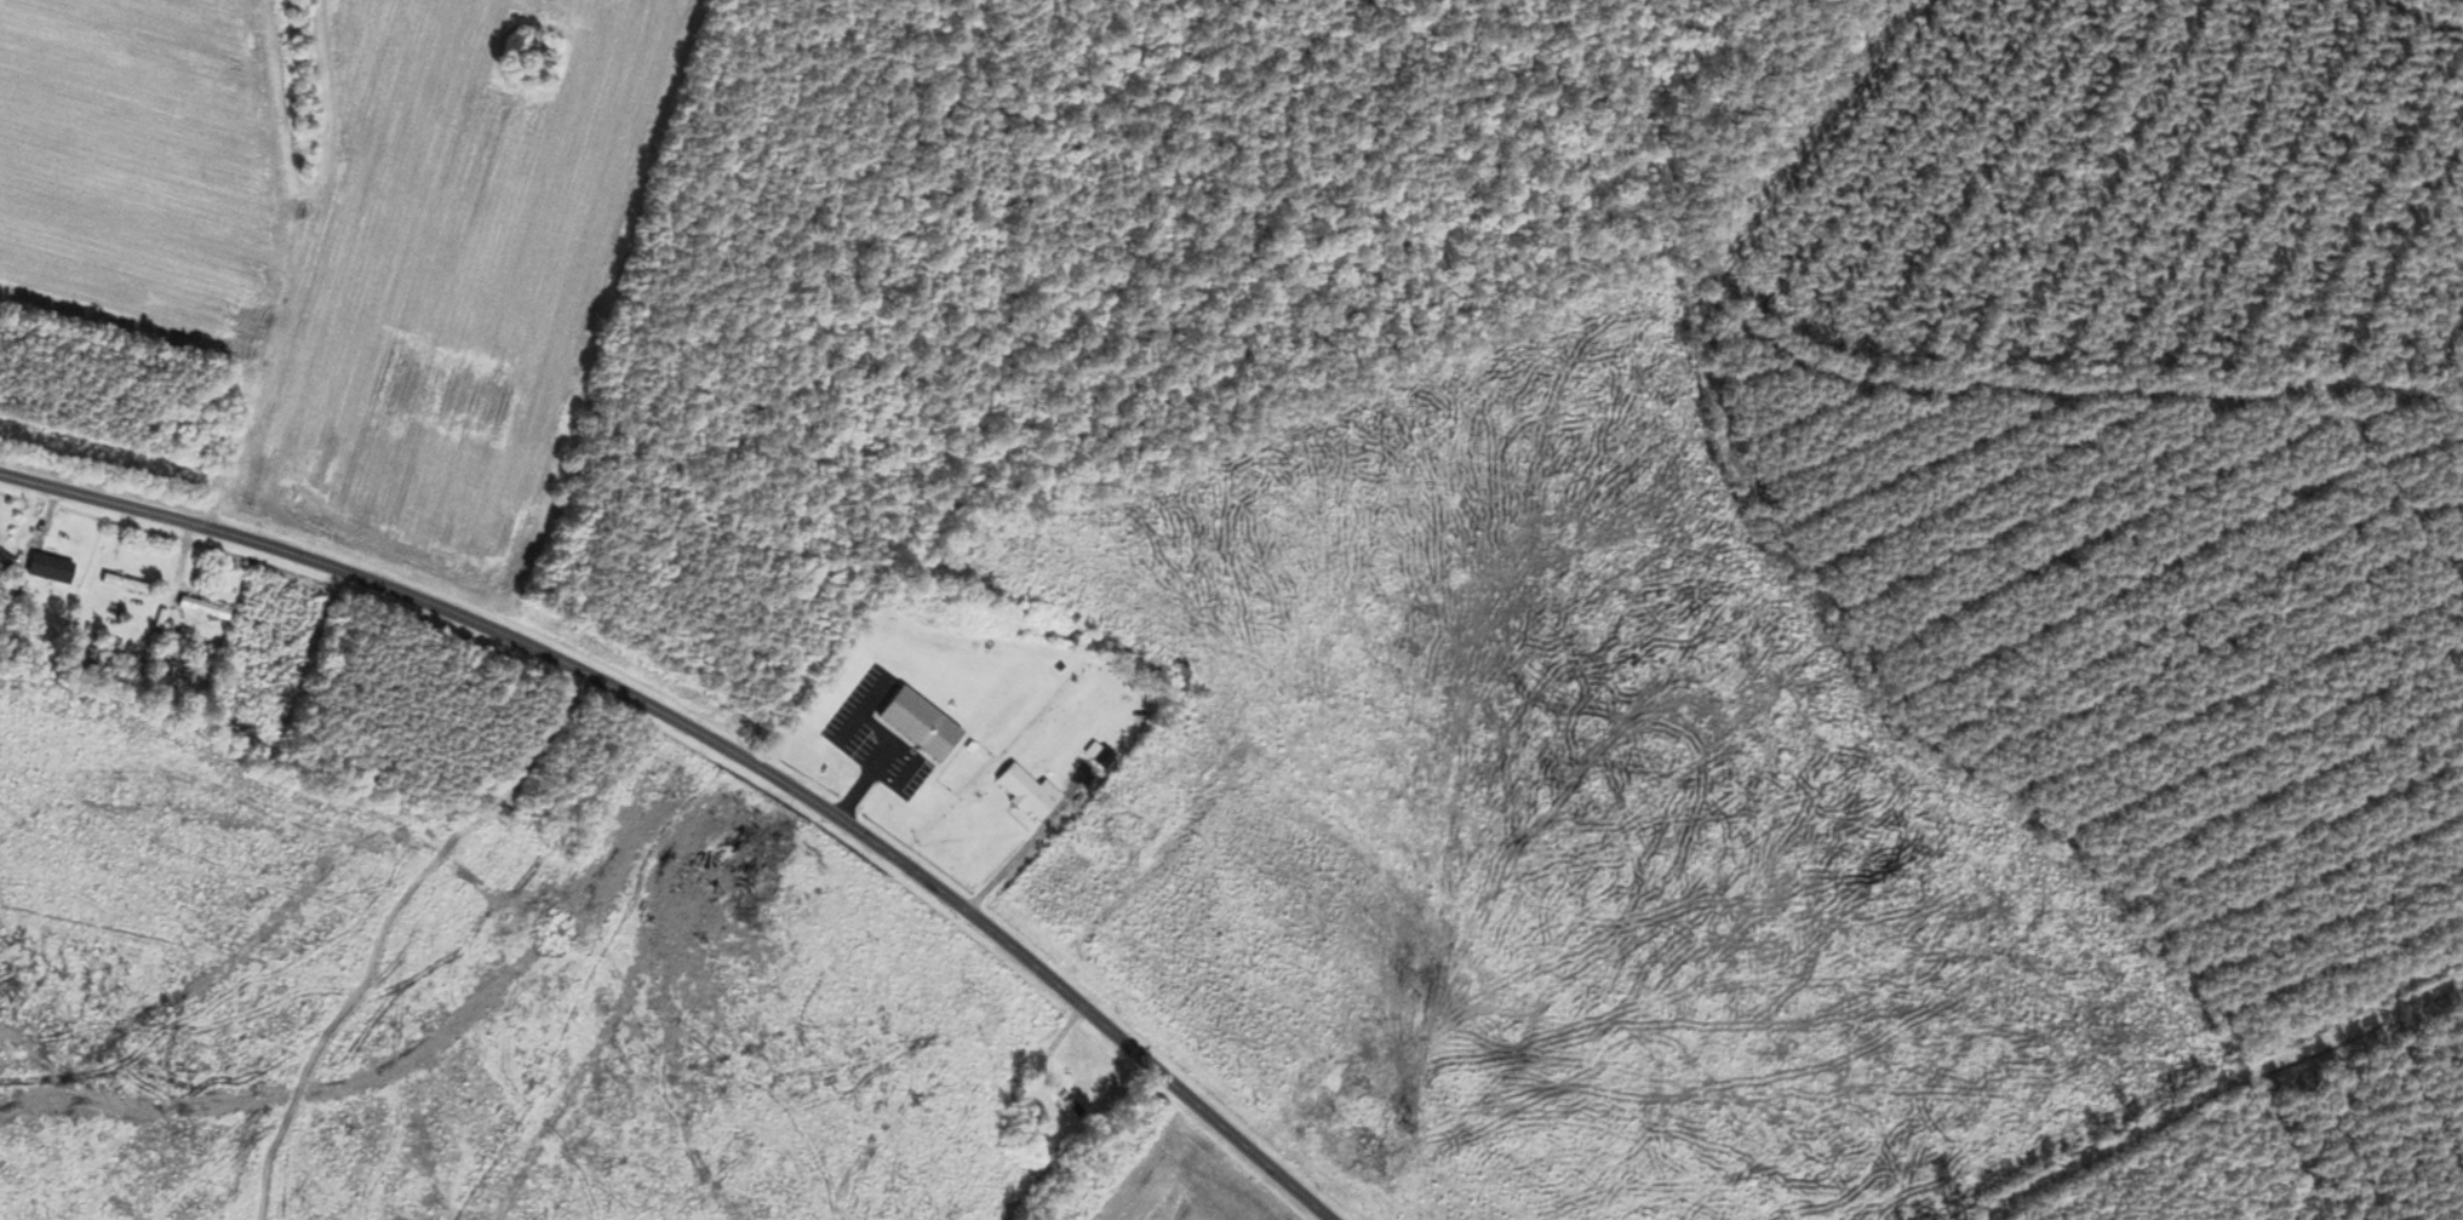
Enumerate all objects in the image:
building: (46, 569)
building: (121, 584)
building: (6, 597)
building: (197, 609)
building: (78, 659)
building: (913, 724)
road: (718, 744)
building: (1023, 792)
building: (1061, 1099)

